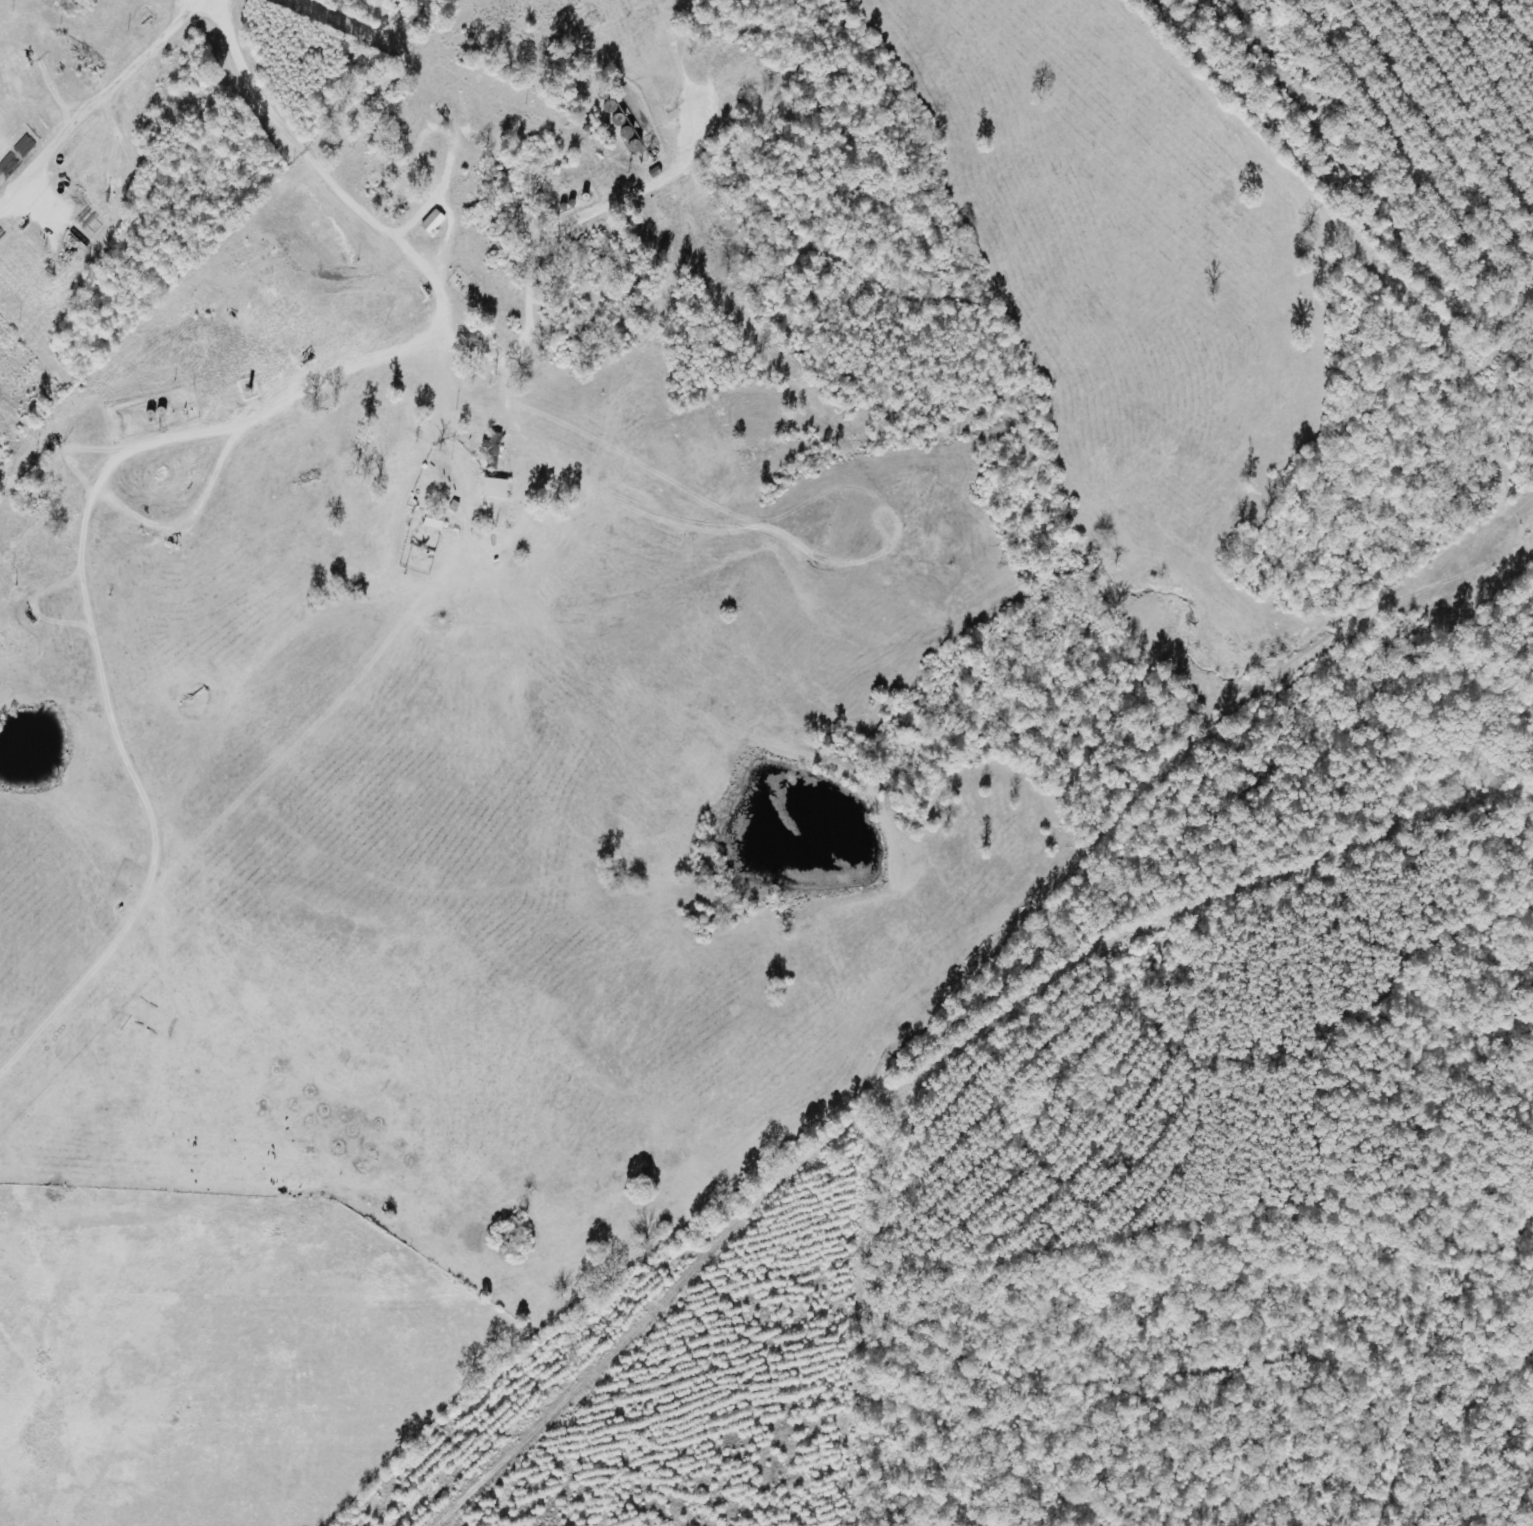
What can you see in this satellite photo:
road: (249, 38)
road: (111, 107)
building: (437, 222)
road: (614, 243)
road: (537, 360)
road: (327, 387)
building: (499, 489)
building: (437, 521)

